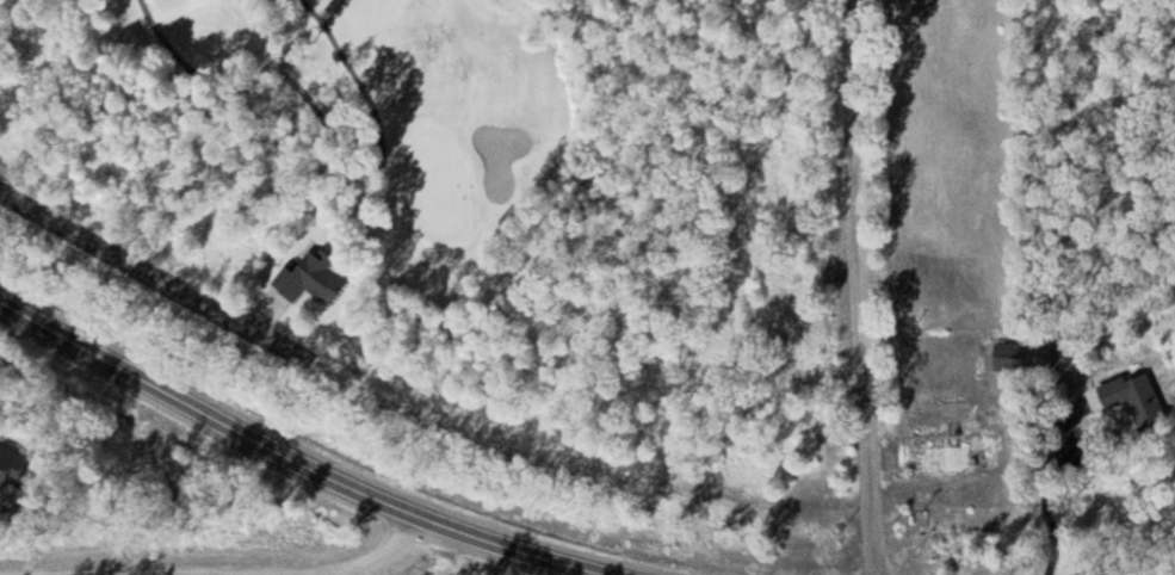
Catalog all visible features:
park: (372, 152)
park: (440, 184)
building: (313, 273)
road: (168, 280)
road: (864, 287)
building: (1024, 357)
building: (1134, 398)
road: (299, 460)
road: (231, 552)

